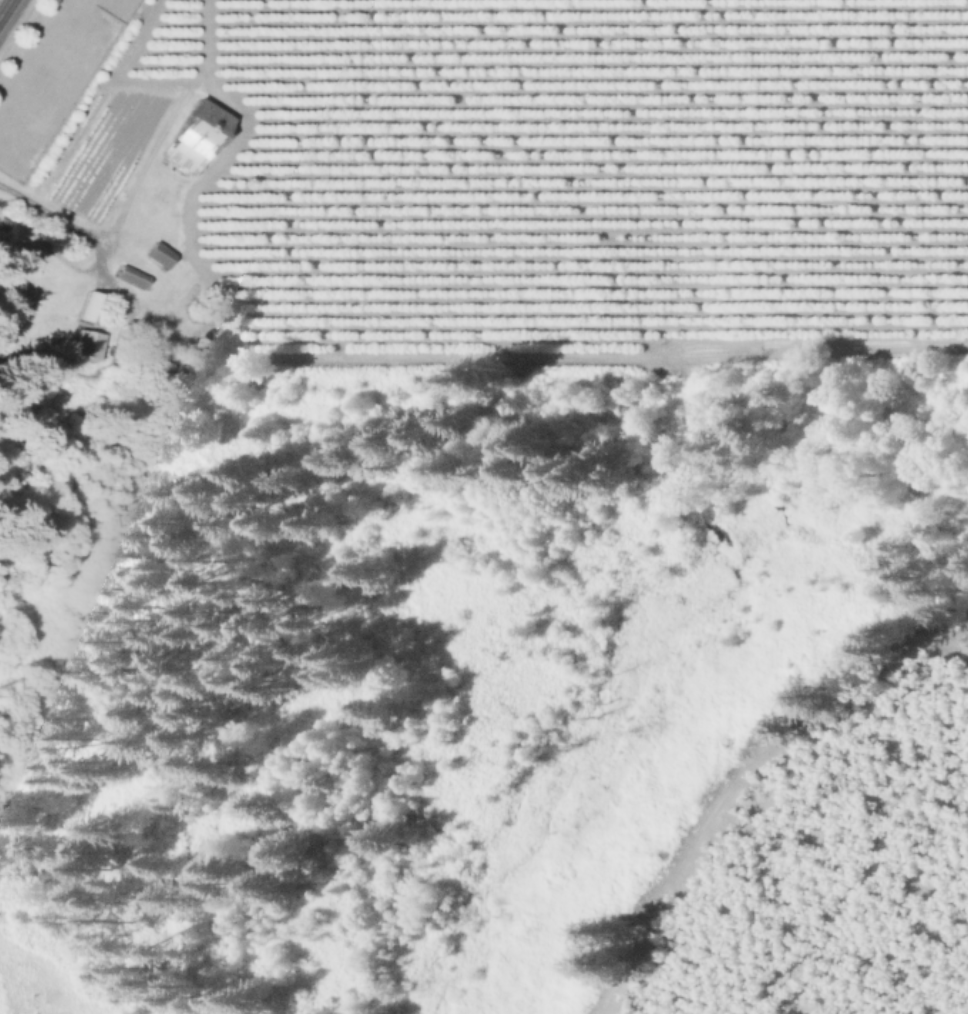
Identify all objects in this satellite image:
road: (5, 8)
building: (189, 145)
road: (60, 219)
building: (3, 225)
building: (159, 255)
building: (133, 277)
building: (92, 308)

